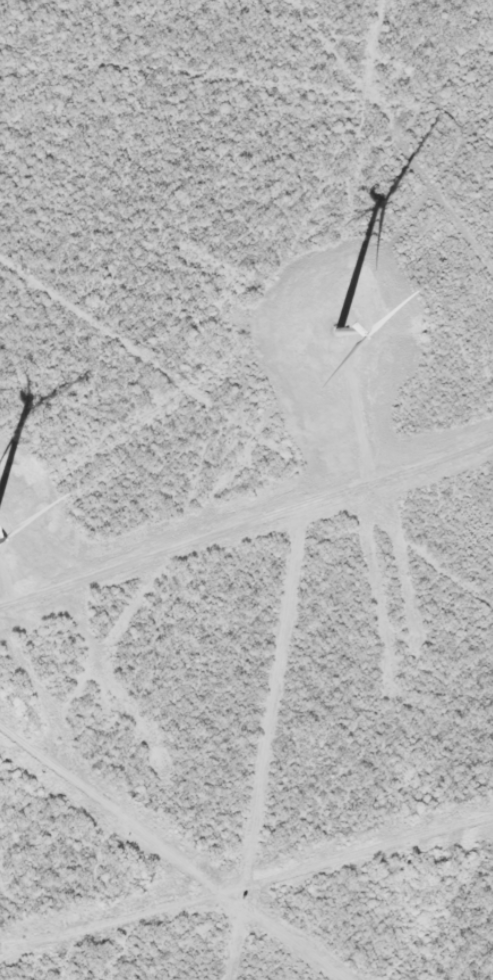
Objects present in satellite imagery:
wind turbine: (338, 333)

